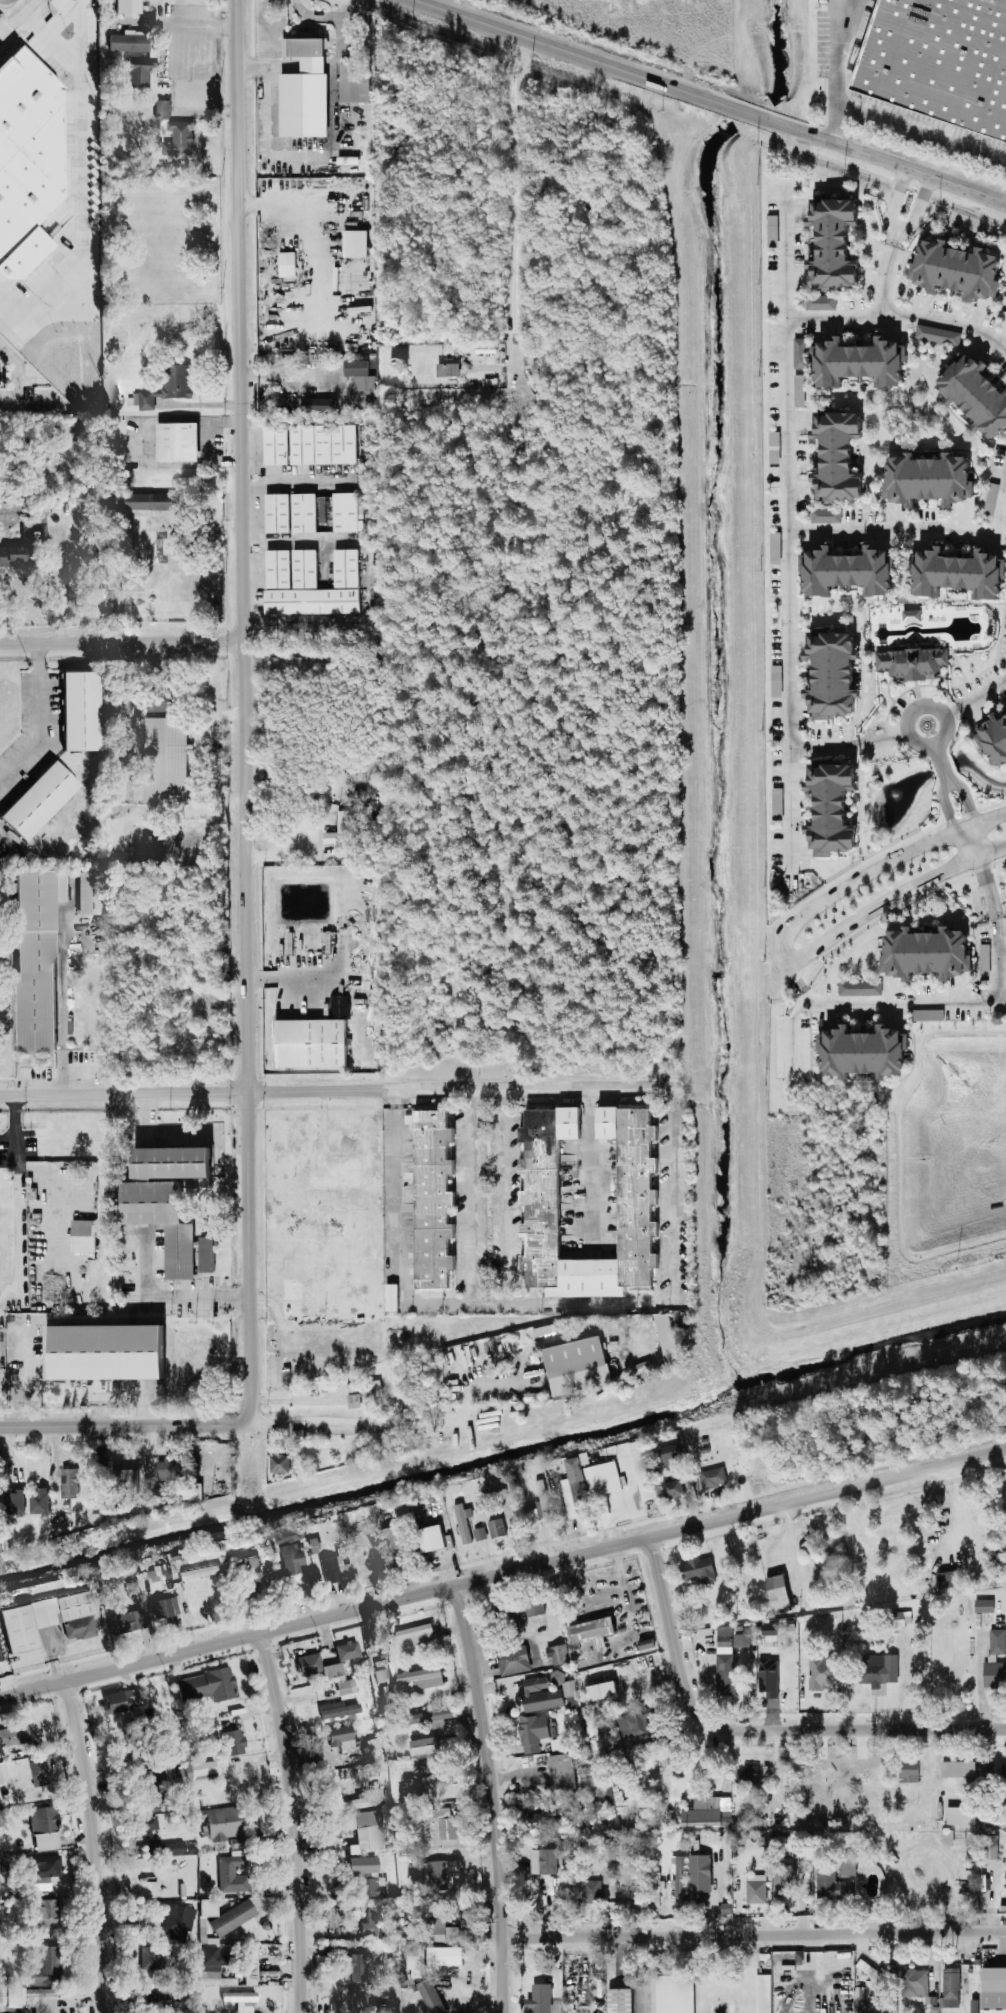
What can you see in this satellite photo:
road: (835, 0)
road: (444, 4)
building: (126, 6)
road: (16, 15)
road: (328, 16)
road: (161, 24)
building: (126, 43)
road: (190, 50)
road: (581, 54)
building: (935, 61)
road: (834, 69)
building: (137, 72)
building: (353, 85)
building: (302, 92)
building: (160, 111)
road: (756, 114)
road: (920, 134)
building: (178, 140)
road: (306, 155)
road: (887, 158)
building: (28, 161)
road: (79, 181)
road: (279, 204)
road: (514, 204)
road: (893, 204)
road: (917, 212)
building: (832, 238)
building: (353, 244)
building: (285, 264)
building: (956, 266)
road: (884, 282)
building: (819, 303)
road: (899, 321)
building: (936, 335)
road: (1005, 347)
building: (799, 353)
building: (860, 358)
building: (396, 362)
storage tank: (396, 362)
road: (489, 363)
building: (446, 364)
building: (358, 376)
road: (287, 377)
road: (17, 378)
building: (167, 387)
building: (798, 391)
building: (976, 392)
building: (321, 405)
building: (175, 442)
road: (206, 442)
building: (321, 445)
building: (274, 446)
building: (837, 452)
building: (931, 475)
road: (294, 480)
building: (990, 498)
building: (143, 502)
road: (1000, 505)
building: (320, 510)
building: (302, 513)
building: (345, 513)
building: (275, 514)
building: (825, 516)
building: (33, 528)
road: (896, 530)
road: (787, 532)
road: (296, 541)
building: (12, 558)
building: (848, 568)
building: (958, 571)
building: (308, 584)
building: (911, 616)
road: (191, 642)
building: (913, 660)
building: (830, 672)
road: (975, 699)
road: (242, 710)
building: (79, 712)
road: (37, 719)
road: (945, 720)
building: (994, 736)
road: (849, 745)
road: (942, 759)
building: (164, 760)
road: (966, 798)
building: (37, 801)
road: (946, 806)
building: (829, 808)
building: (337, 830)
road: (296, 840)
road: (973, 842)
road: (886, 868)
building: (88, 893)
road: (891, 898)
building: (286, 943)
building: (926, 950)
road: (782, 955)
road: (1001, 957)
building: (34, 958)
building: (983, 961)
road: (291, 976)
road: (798, 987)
building: (858, 989)
road: (1001, 1001)
road: (935, 1002)
building: (927, 1016)
road: (984, 1016)
building: (311, 1040)
building: (864, 1049)
road: (336, 1092)
road: (899, 1153)
building: (168, 1162)
road: (591, 1171)
building: (334, 1175)
road: (20, 1181)
building: (636, 1197)
building: (431, 1198)
road: (475, 1200)
road: (510, 1200)
building: (160, 1221)
road: (673, 1234)
building: (81, 1236)
road: (146, 1249)
building: (204, 1254)
building: (288, 1290)
road: (402, 1295)
building: (390, 1297)
road: (286, 1329)
building: (666, 1338)
building: (101, 1352)
building: (575, 1368)
road: (476, 1384)
building: (362, 1387)
road: (295, 1400)
building: (352, 1401)
road: (360, 1422)
road: (122, 1426)
building: (667, 1455)
river: (505, 1460)
building: (279, 1464)
building: (167, 1470)
building: (641, 1470)
building: (123, 1477)
building: (601, 1478)
building: (711, 1478)
building: (68, 1483)
building: (570, 1487)
building: (672, 1489)
building: (541, 1498)
building: (13, 1502)
building: (37, 1502)
building: (531, 1516)
building: (462, 1523)
building: (494, 1528)
building: (478, 1534)
building: (390, 1538)
building: (429, 1538)
building: (288, 1551)
building: (813, 1555)
building: (696, 1569)
building: (333, 1570)
building: (197, 1573)
building: (249, 1573)
road: (503, 1573)
building: (157, 1574)
building: (948, 1582)
building: (777, 1593)
building: (983, 1606)
building: (164, 1610)
building: (533, 1610)
building: (40, 1618)
building: (126, 1622)
building: (78, 1629)
building: (591, 1633)
building: (415, 1634)
building: (723, 1641)
building: (740, 1641)
building: (996, 1641)
building: (644, 1645)
building: (347, 1651)
building: (556, 1655)
building: (0, 1660)
building: (512, 1660)
building: (316, 1667)
building: (877, 1669)
building: (822, 1672)
building: (993, 1674)
building: (380, 1676)
building: (767, 1678)
building: (725, 1680)
building: (414, 1681)
road: (978, 1682)
building: (206, 1686)
building: (345, 1687)
building: (564, 1688)
building: (599, 1691)
building: (539, 1695)
building: (120, 1701)
building: (337, 1710)
building: (429, 1718)
building: (635, 1724)
road: (756, 1730)
building: (533, 1733)
building: (13, 1736)
building: (225, 1737)
building: (338, 1738)
building: (422, 1746)
building: (201, 1769)
building: (957, 1769)
building: (560, 1771)
building: (23, 1772)
building: (907, 1772)
building: (747, 1775)
building: (419, 1777)
road: (492, 1797)
building: (707, 1813)
building: (960, 1816)
road: (294, 1821)
building: (221, 1823)
building: (146, 1824)
building: (445, 1825)
building: (43, 1829)
building: (362, 1832)
road: (95, 1846)
building: (148, 1848)
building: (174, 1848)
building: (991, 1848)
building: (542, 1862)
building: (361, 1865)
building: (847, 1869)
building: (43, 1871)
building: (227, 1872)
building: (439, 1875)
building: (698, 1877)
building: (678, 1879)
building: (783, 1881)
building: (828, 1884)
building: (371, 1887)
building: (755, 1887)
building: (591, 1890)
building: (207, 1908)
building: (46, 1914)
building: (233, 1919)
building: (177, 1922)
building: (372, 1924)
building: (442, 1932)
road: (753, 1934)
building: (443, 1957)
building: (155, 1959)
building: (414, 1964)
building: (46, 1966)
building: (212, 1967)
building: (250, 1967)
building: (356, 1968)
road: (625, 1976)
building: (913, 1983)
building: (950, 1988)
building: (993, 1990)
building: (762, 1994)
building: (429, 1997)
building: (31, 1999)
building: (540, 2000)
building: (240, 2001)
building: (618, 2001)
building: (973, 2006)

